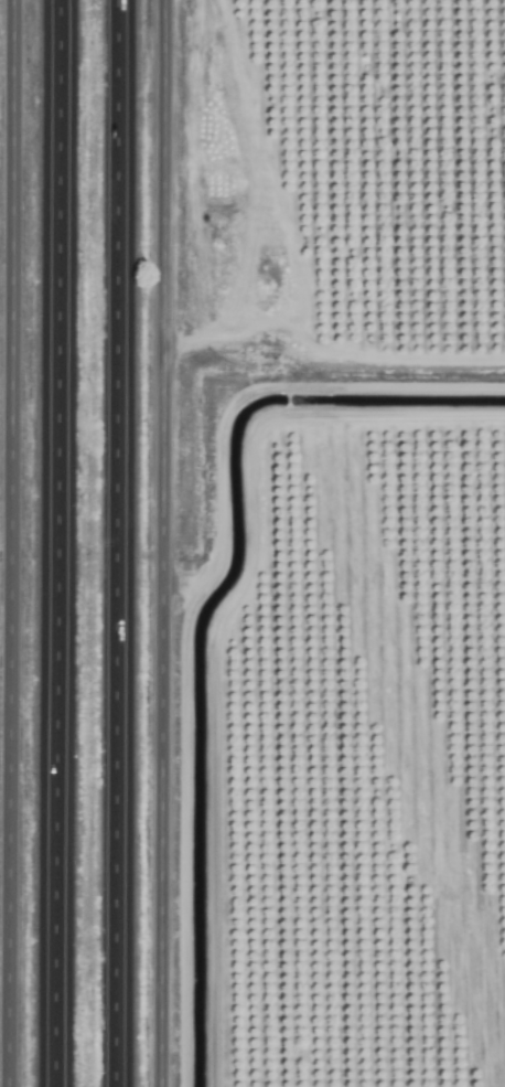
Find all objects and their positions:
road: (398, 416)
road: (9, 543)
road: (55, 543)
road: (114, 543)
road: (159, 543)

